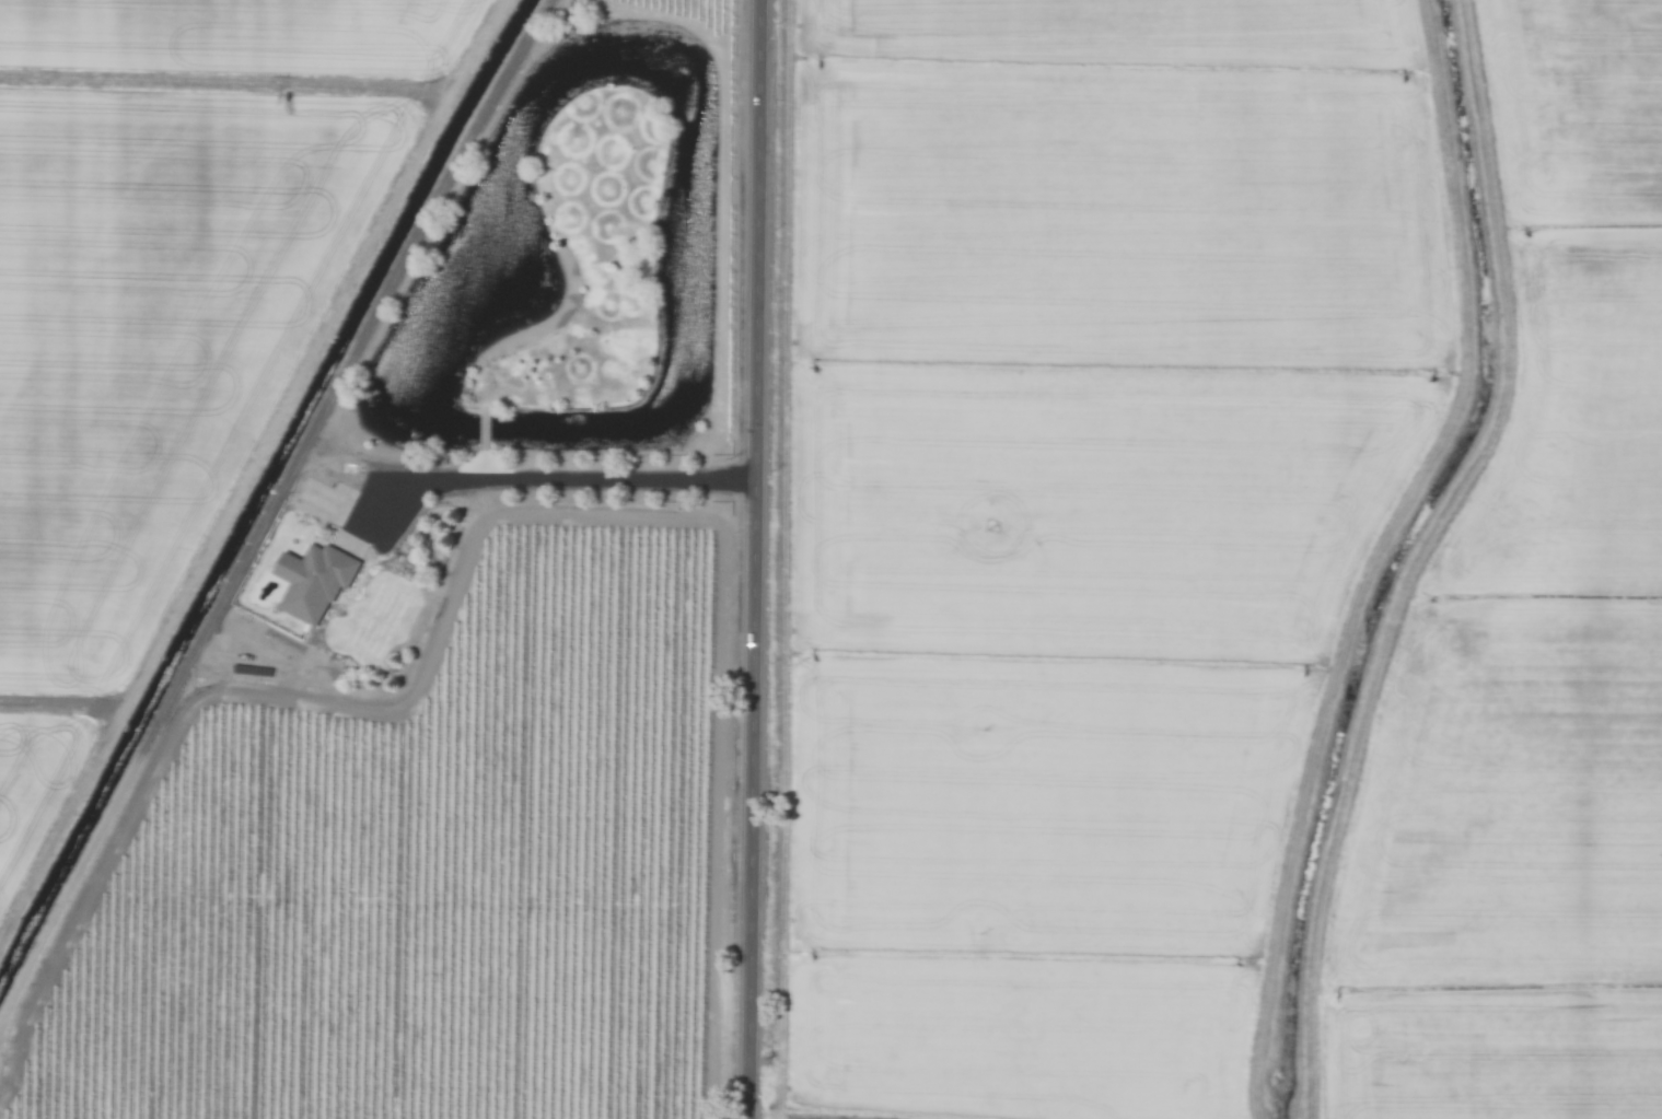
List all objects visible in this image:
road: (410, 243)
road: (573, 481)
road: (756, 559)
building: (314, 584)
crop: (1526, 649)

